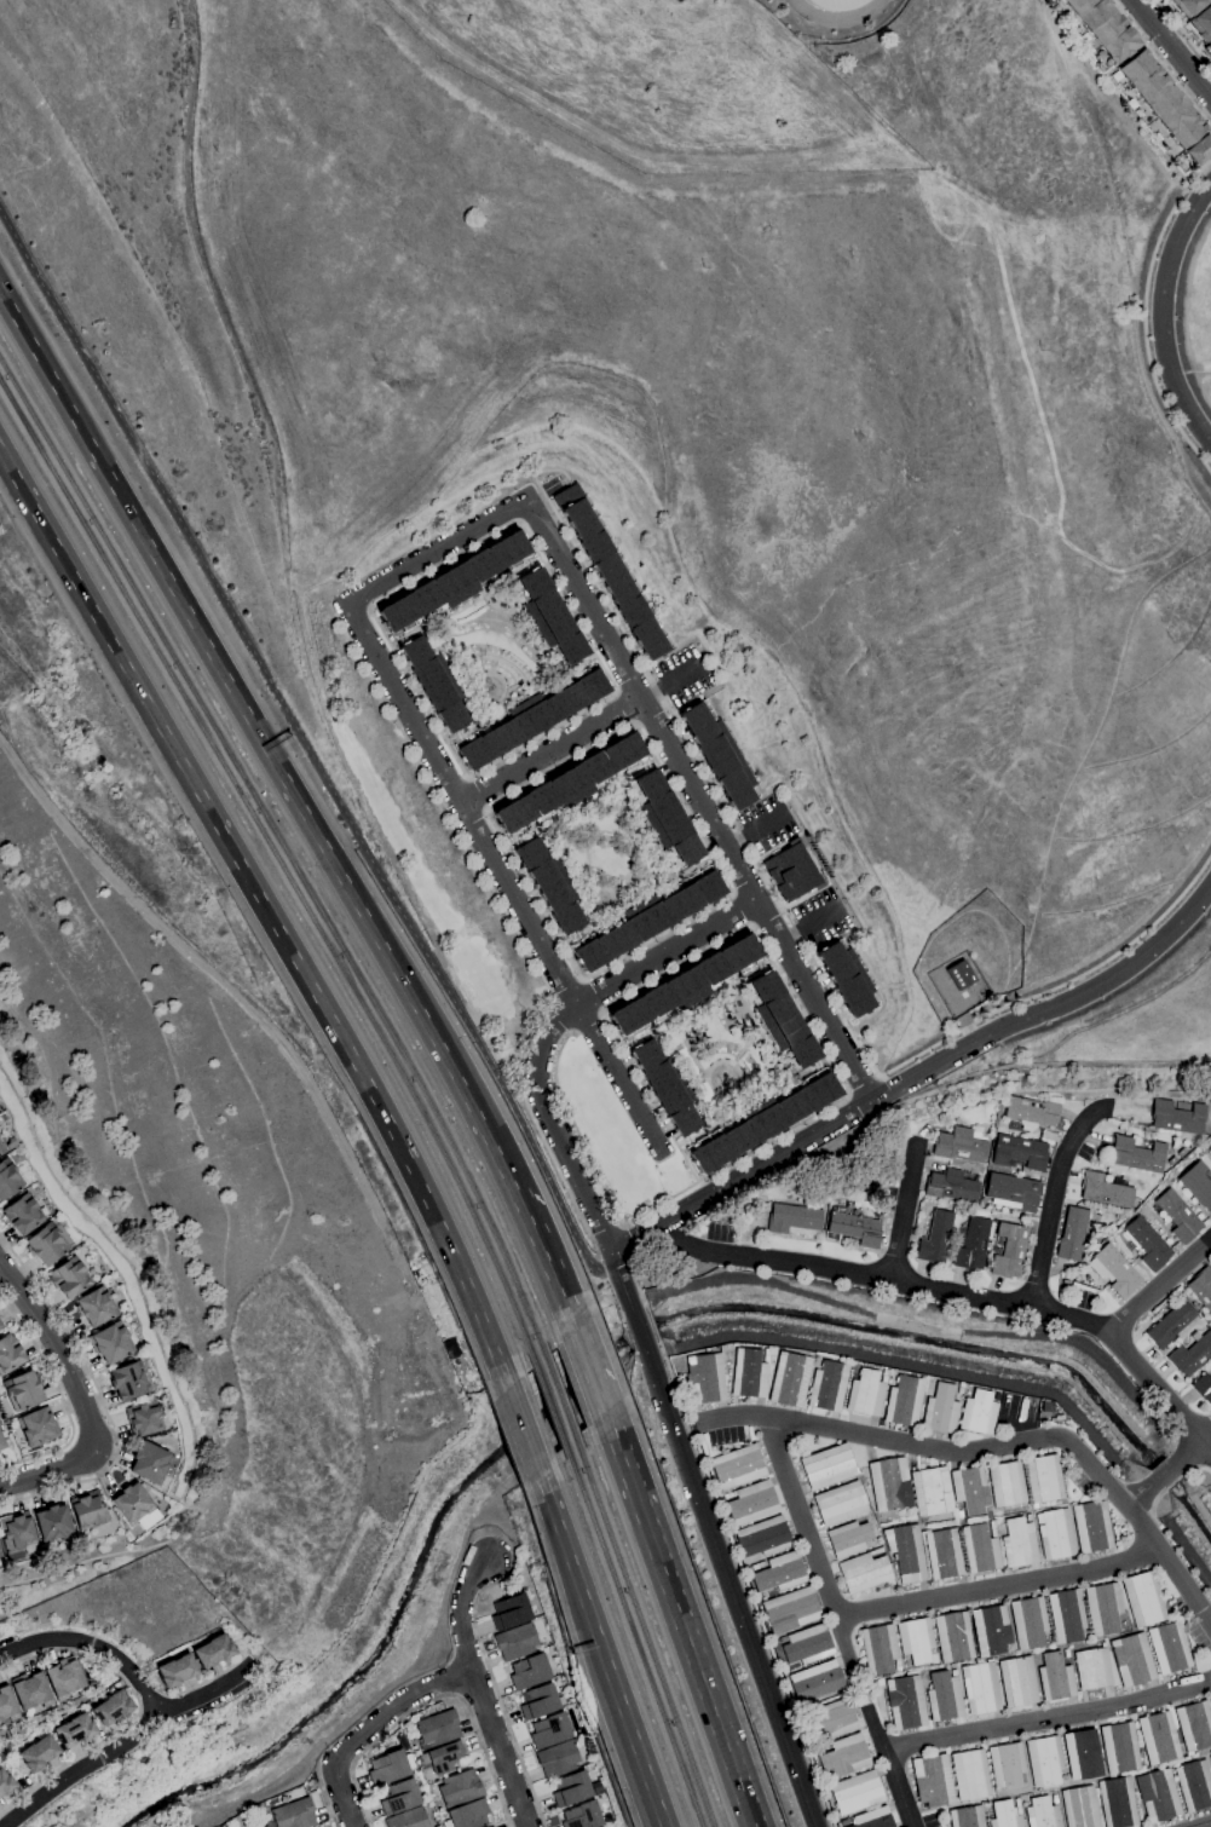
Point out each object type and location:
building: (834, 4)
building: (1186, 5)
building: (1200, 21)
building: (1103, 27)
road: (1184, 34)
road: (1173, 48)
building: (1209, 48)
road: (1160, 63)
building: (1167, 106)
road: (1160, 313)
road: (1146, 316)
road: (1015, 333)
road: (514, 524)
road: (438, 552)
road: (1144, 564)
building: (613, 572)
building: (454, 584)
building: (548, 618)
road: (671, 682)
building: (434, 684)
road: (622, 709)
building: (530, 719)
road: (652, 719)
road: (305, 748)
road: (265, 749)
road: (553, 754)
building: (720, 755)
building: (570, 785)
road: (483, 790)
road: (700, 801)
building: (664, 819)
road: (473, 824)
railway: (287, 849)
railway: (279, 865)
building: (792, 872)
road: (745, 881)
road: (506, 883)
building: (550, 886)
road: (731, 891)
road: (738, 910)
road: (267, 912)
building: (647, 921)
road: (768, 921)
road: (514, 929)
road: (795, 932)
road: (675, 968)
building: (962, 975)
building: (848, 978)
road: (565, 986)
building: (686, 987)
road: (594, 995)
road: (1051, 1008)
road: (558, 1021)
building: (779, 1021)
road: (584, 1024)
road: (557, 1026)
road: (968, 1028)
road: (861, 1085)
building: (667, 1087)
road: (647, 1096)
building: (1032, 1111)
building: (1176, 1117)
building: (762, 1120)
building: (959, 1146)
building: (1, 1149)
building: (1020, 1153)
building: (1136, 1155)
building: (17, 1157)
road: (731, 1162)
building: (1170, 1164)
road: (739, 1175)
building: (8, 1178)
road: (676, 1181)
building: (1198, 1183)
building: (951, 1186)
building: (1105, 1191)
building: (1013, 1192)
road: (1061, 1195)
road: (910, 1206)
building: (22, 1215)
building: (1177, 1216)
building: (795, 1221)
building: (854, 1228)
road: (604, 1231)
building: (1071, 1234)
building: (936, 1238)
road: (624, 1241)
building: (971, 1243)
building: (1147, 1244)
building: (46, 1245)
building: (1009, 1251)
road: (611, 1256)
road: (622, 1262)
building: (1117, 1270)
road: (547, 1273)
building: (69, 1279)
road: (636, 1283)
road: (1160, 1286)
road: (967, 1287)
building: (1201, 1287)
road: (624, 1292)
building: (94, 1307)
road: (650, 1324)
building: (1171, 1324)
building: (0, 1325)
building: (0, 1326)
road: (639, 1332)
building: (110, 1343)
road: (57, 1350)
building: (1192, 1353)
building: (8, 1354)
building: (763, 1355)
road: (586, 1373)
building: (746, 1373)
building: (705, 1379)
building: (788, 1379)
building: (128, 1382)
building: (826, 1387)
building: (1203, 1388)
building: (22, 1390)
building: (957, 1390)
building: (864, 1393)
railway: (559, 1396)
road: (100, 1397)
road: (62, 1399)
building: (901, 1401)
railway: (549, 1405)
building: (1044, 1406)
building: (939, 1410)
building: (978, 1412)
building: (144, 1419)
building: (38, 1427)
road: (520, 1429)
building: (1, 1443)
road: (1192, 1448)
road: (994, 1452)
building: (150, 1463)
road: (621, 1465)
building: (737, 1466)
building: (826, 1466)
road: (1196, 1469)
road: (50, 1472)
road: (1165, 1472)
building: (1043, 1479)
building: (1005, 1483)
road: (1175, 1483)
building: (888, 1485)
building: (969, 1489)
building: (929, 1492)
road: (1142, 1494)
road: (1157, 1502)
building: (132, 1503)
building: (751, 1503)
building: (838, 1503)
building: (87, 1510)
building: (1007, 1512)
building: (997, 1514)
building: (1027, 1517)
building: (958, 1520)
building: (52, 1525)
building: (1091, 1527)
building: (17, 1532)
building: (1055, 1534)
building: (762, 1538)
road: (815, 1538)
building: (847, 1539)
building: (877, 1540)
building: (1019, 1543)
building: (980, 1548)
building: (905, 1552)
building: (942, 1554)
building: (0, 1555)
building: (757, 1566)
building: (863, 1572)
building: (779, 1573)
road: (575, 1578)
road: (743, 1584)
road: (1000, 1584)
road: (728, 1586)
building: (1143, 1600)
building: (1102, 1608)
building: (790, 1610)
building: (511, 1612)
road: (463, 1613)
building: (1066, 1616)
building: (1028, 1623)
building: (991, 1630)
railway: (641, 1631)
railway: (632, 1636)
building: (953, 1637)
building: (915, 1639)
building: (515, 1642)
road: (93, 1646)
building: (806, 1646)
building: (1169, 1648)
building: (878, 1649)
building: (213, 1652)
building: (553, 1652)
building: (1066, 1653)
building: (1131, 1660)
building: (1092, 1668)
building: (175, 1671)
building: (560, 1671)
building: (529, 1672)
road: (697, 1672)
building: (1054, 1677)
building: (63, 1678)
building: (815, 1681)
building: (1016, 1682)
road: (465, 1683)
road: (495, 1688)
building: (980, 1688)
building: (30, 1690)
building: (944, 1696)
road: (457, 1698)
building: (1210, 1699)
road: (432, 1702)
building: (540, 1702)
building: (905, 1702)
building: (6, 1706)
building: (113, 1708)
building: (834, 1718)
road: (1048, 1718)
building: (1194, 1725)
road: (370, 1727)
building: (437, 1729)
building: (74, 1730)
building: (550, 1730)
building: (1158, 1739)
road: (123, 1744)
building: (815, 1745)
road: (500, 1748)
building: (817, 1748)
building: (1119, 1748)
building: (38, 1753)
building: (1082, 1754)
building: (843, 1756)
road: (638, 1757)
building: (444, 1758)
building: (1210, 1758)
building: (558, 1759)
building: (1044, 1760)
road: (342, 1764)
road: (888, 1764)
building: (1005, 1764)
road: (352, 1765)
building: (388, 1768)
building: (969, 1775)
building: (932, 1781)
building: (5, 1785)
building: (1194, 1785)
building: (460, 1789)
building: (571, 1789)
building: (1050, 1789)
building: (855, 1792)
building: (1042, 1792)
building: (1157, 1796)
building: (399, 1797)
building: (1117, 1803)
road: (327, 1804)
building: (1079, 1806)
building: (294, 1814)
building: (1042, 1814)
building: (467, 1815)
building: (1004, 1815)
building: (583, 1816)
building: (965, 1816)
building: (408, 1819)
building: (871, 1819)
building: (261, 1823)
road: (1205, 1825)

